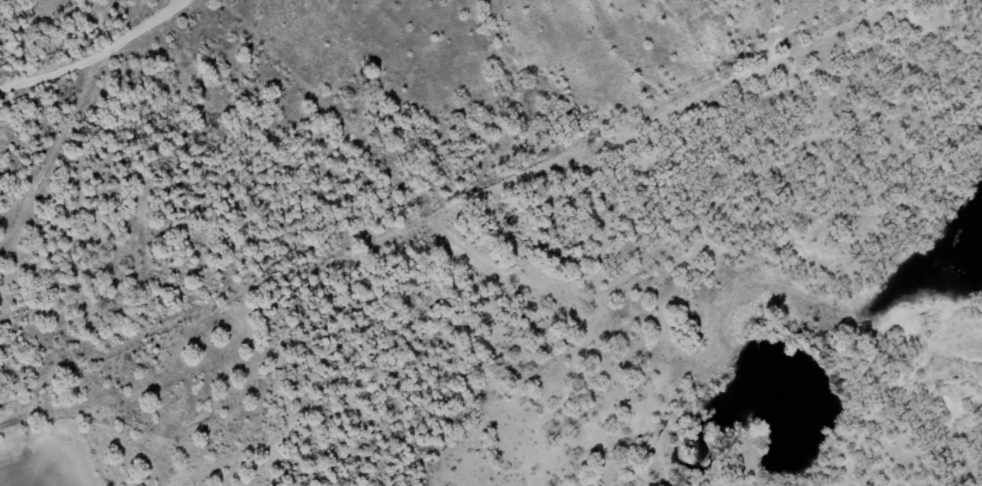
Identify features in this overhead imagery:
road: (239, 24)
road: (498, 258)

